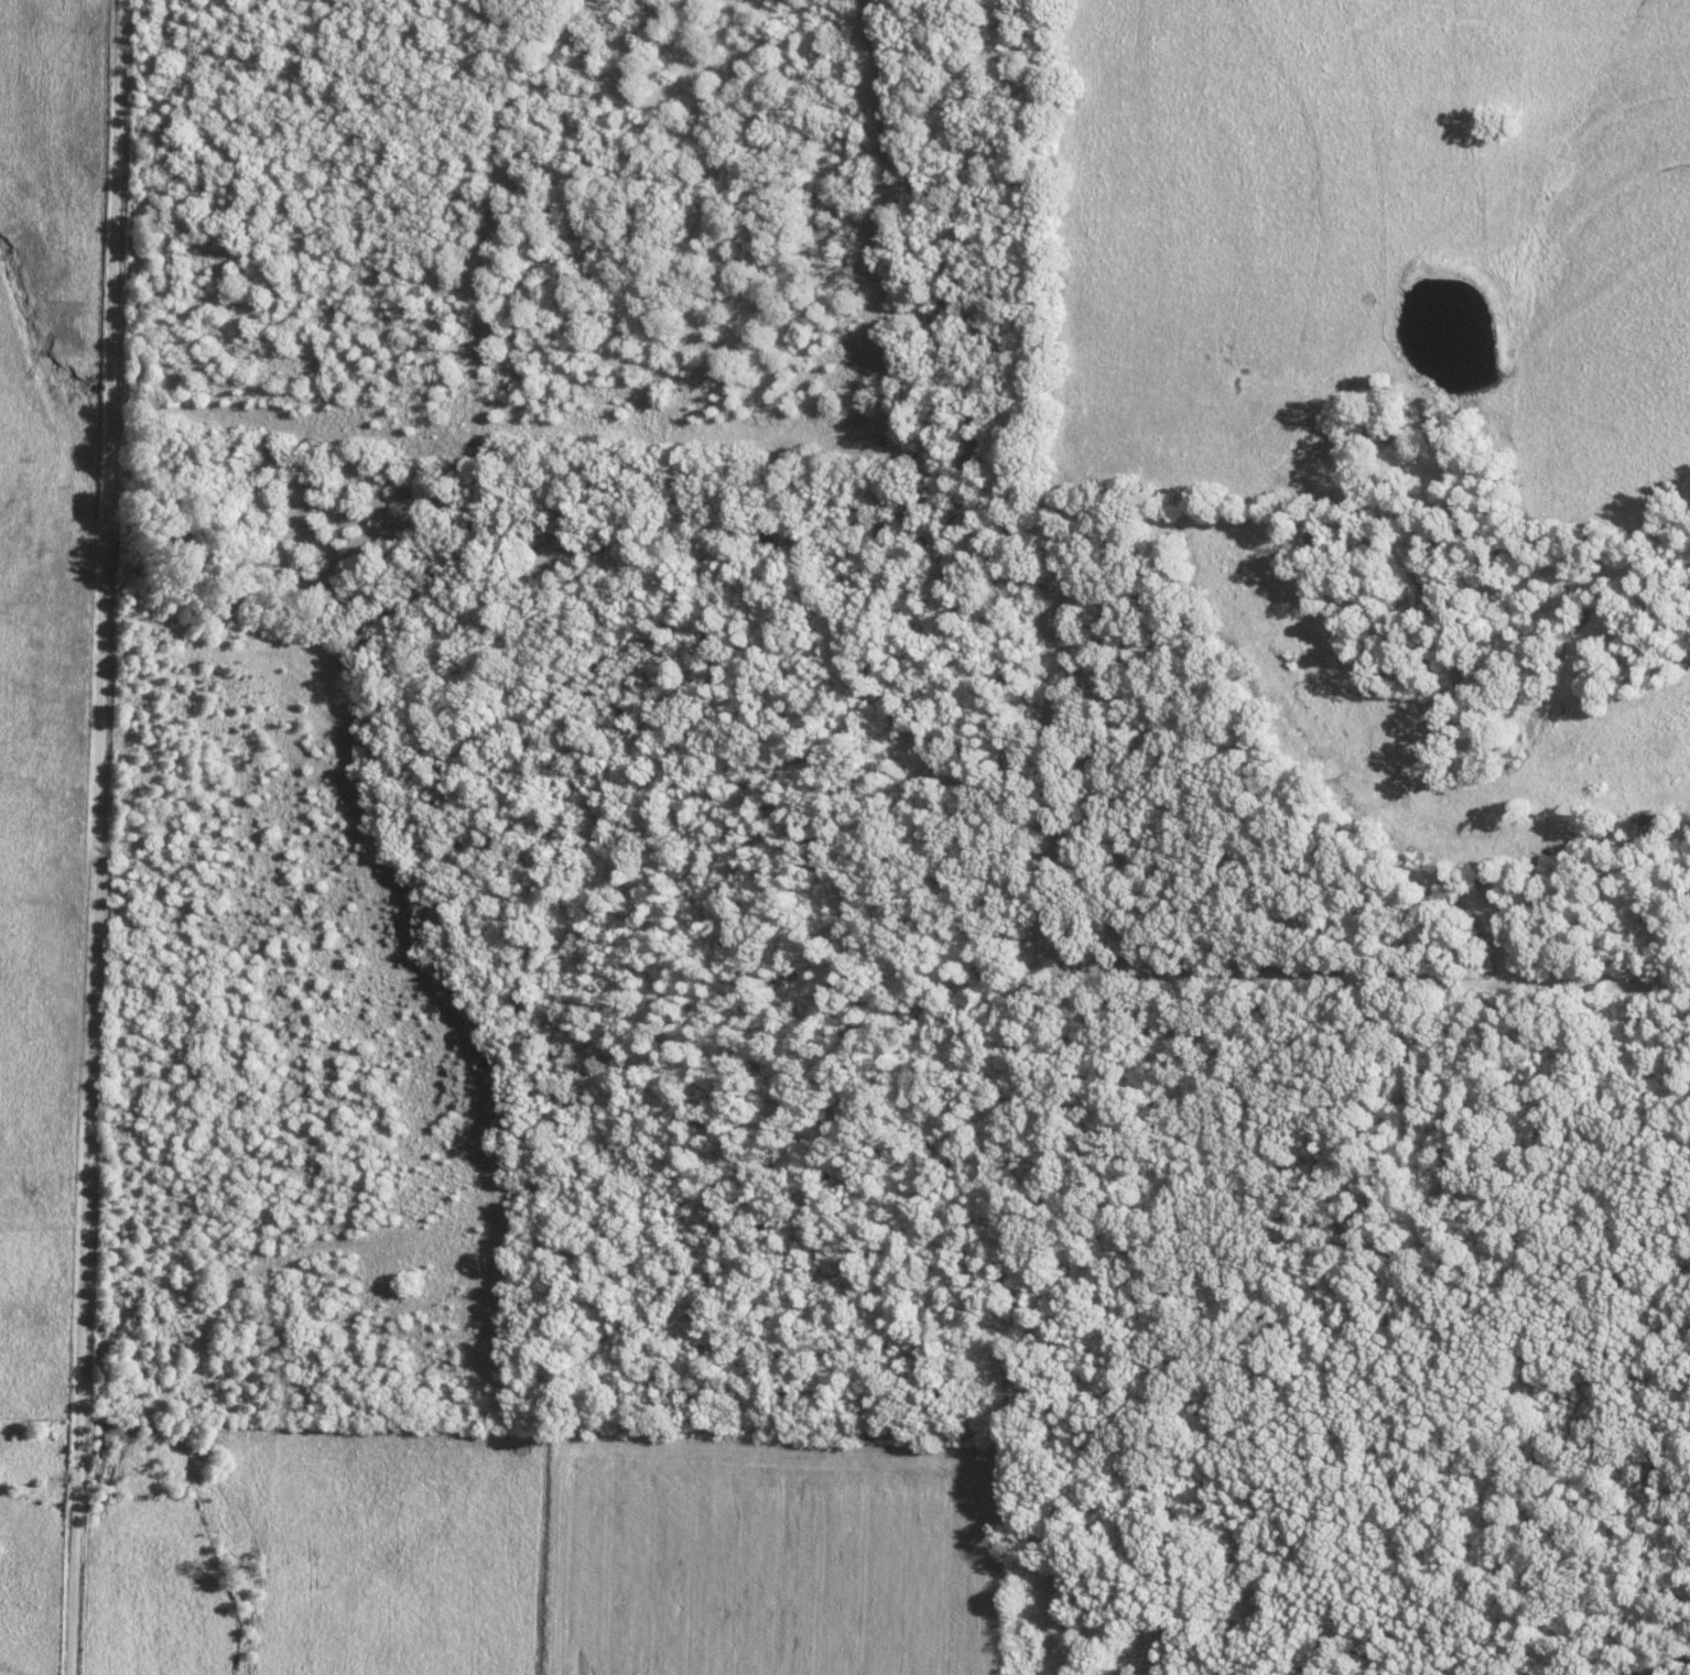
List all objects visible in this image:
road: (100, 837)
road: (1651, 1657)

